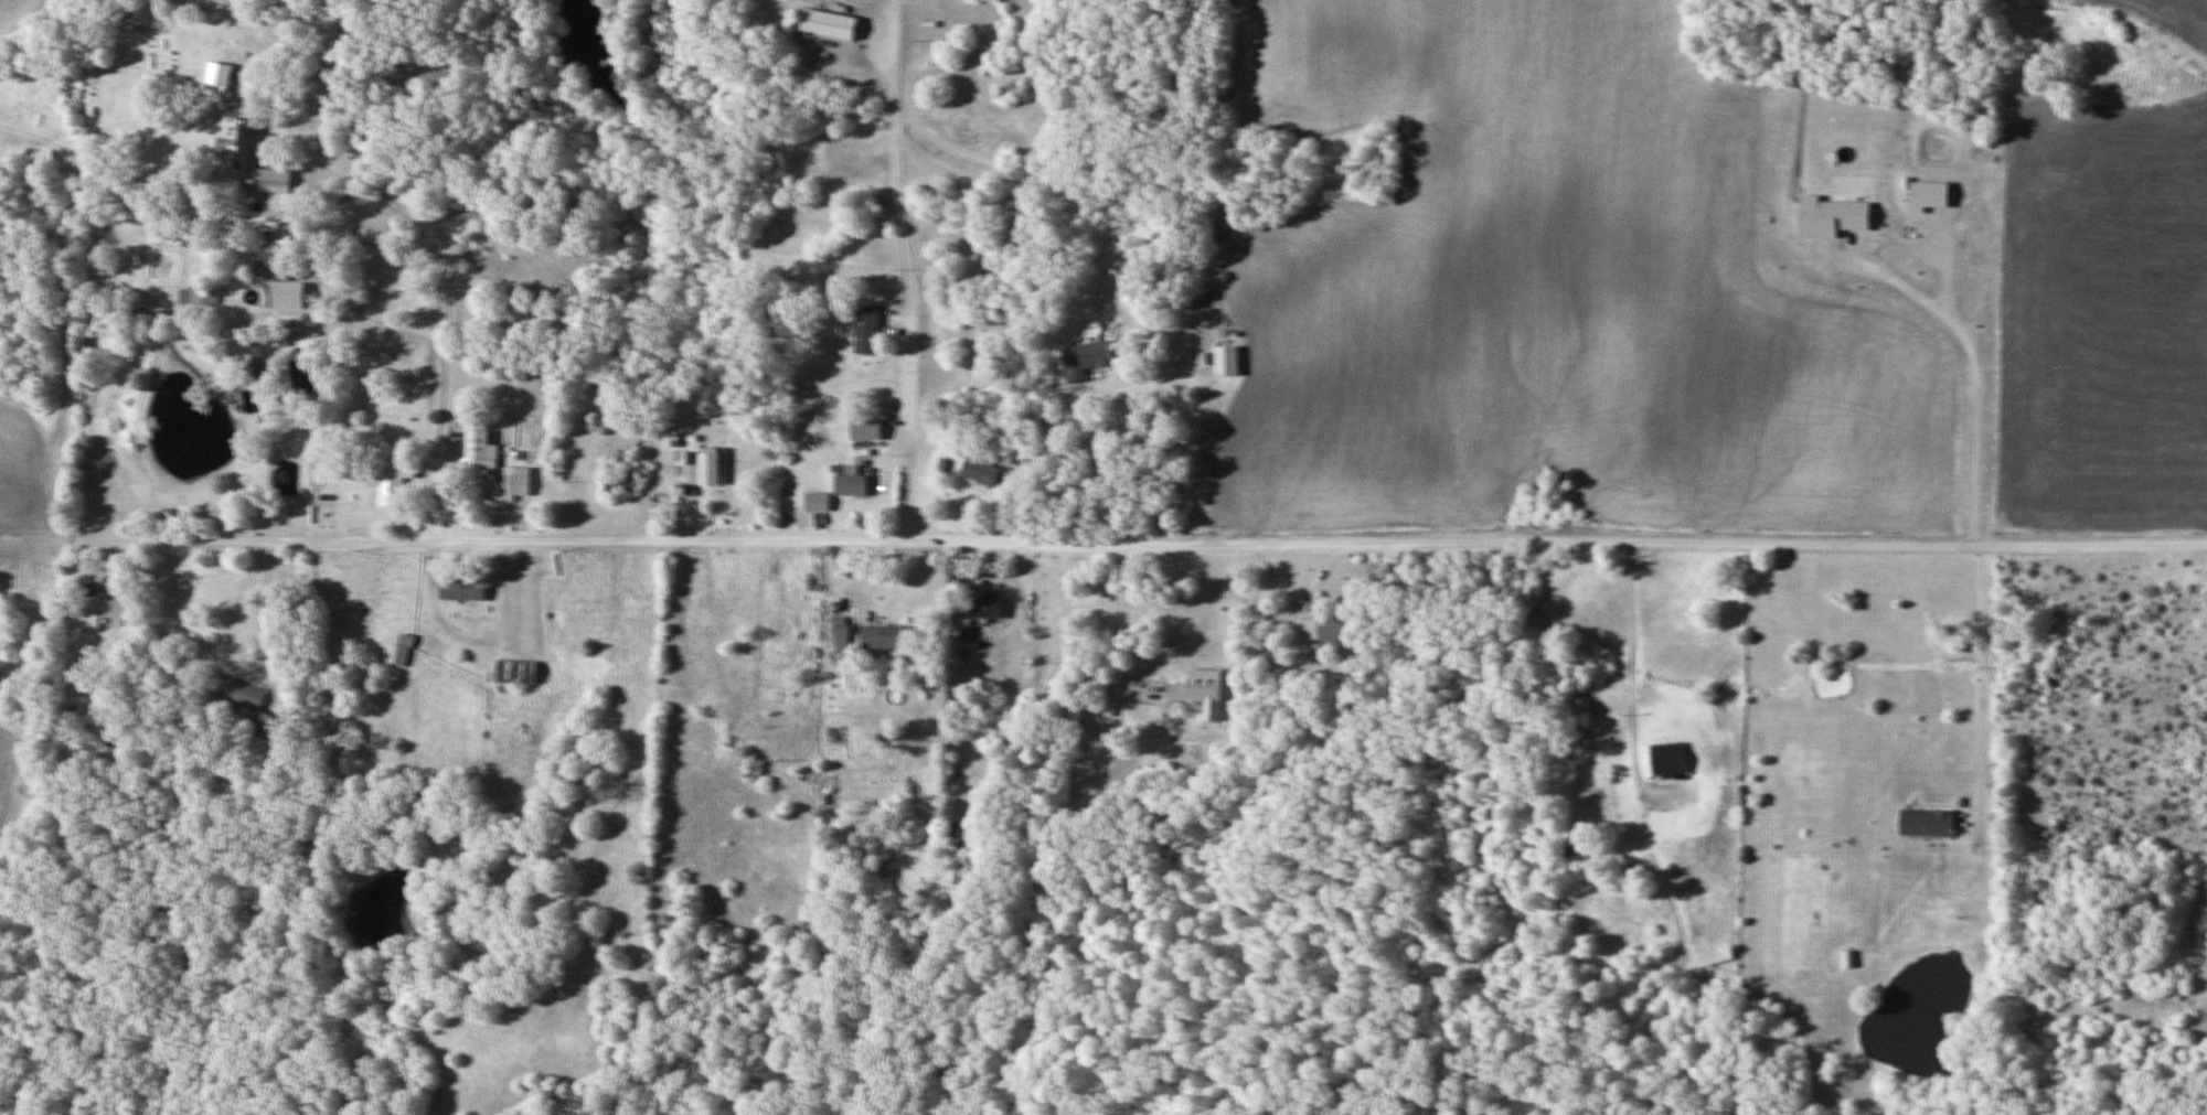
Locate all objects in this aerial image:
building: (831, 24)
road: (324, 52)
building: (250, 144)
building: (276, 180)
building: (277, 260)
road: (905, 269)
road: (447, 296)
road: (387, 330)
building: (871, 330)
building: (1087, 360)
building: (1227, 361)
building: (265, 362)
building: (867, 429)
building: (480, 447)
building: (710, 468)
road: (1102, 471)
building: (982, 472)
building: (620, 481)
building: (853, 483)
building: (507, 486)
building: (393, 487)
building: (819, 502)
road: (1141, 540)
building: (465, 591)
road: (270, 602)
building: (1945, 602)
building: (982, 605)
building: (116, 610)
road: (1116, 628)
building: (1339, 629)
building: (882, 636)
building: (405, 651)
road: (1630, 658)
building: (518, 673)
road: (1981, 677)
building: (1200, 691)
building: (242, 693)
building: (270, 728)
building: (1667, 762)
building: (1926, 824)
building: (1769, 835)
building: (1569, 851)
building: (1715, 959)
building: (1708, 985)

